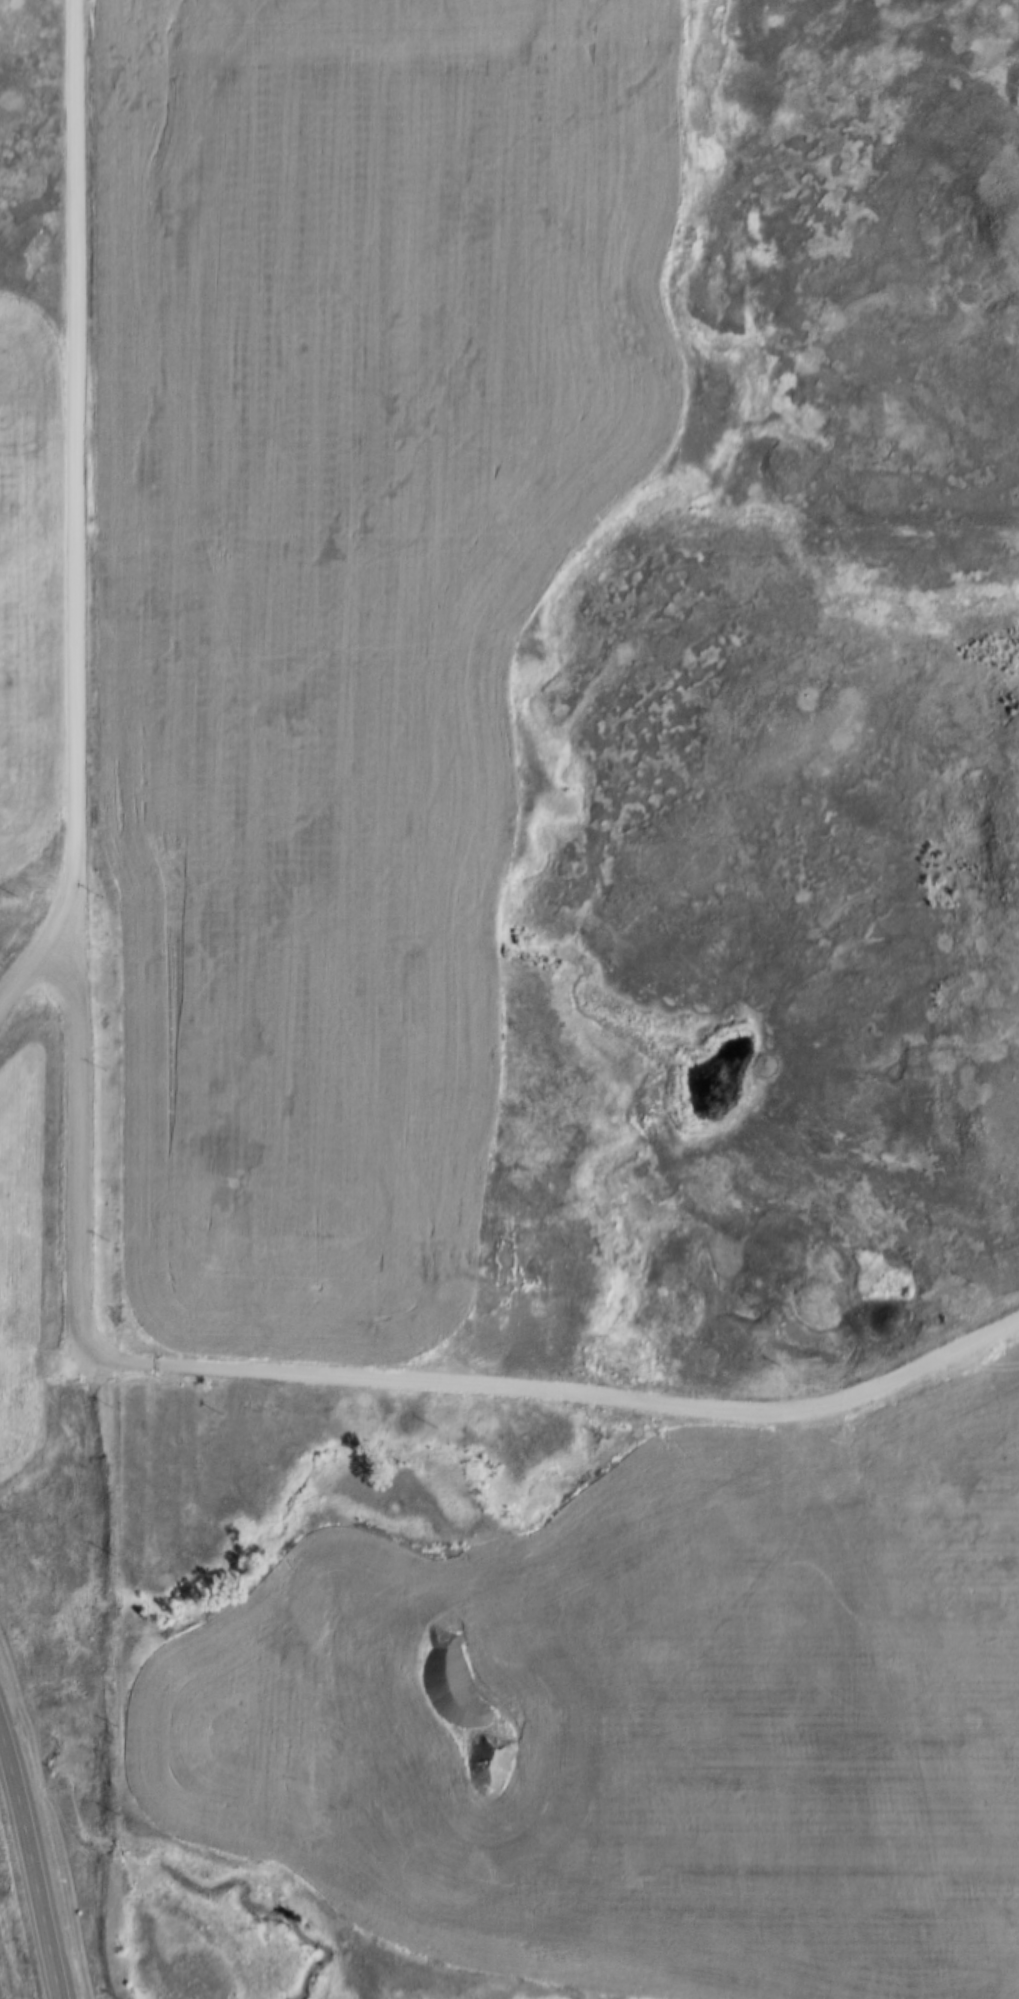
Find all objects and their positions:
road: (74, 514)
road: (341, 1380)
road: (27, 1876)

